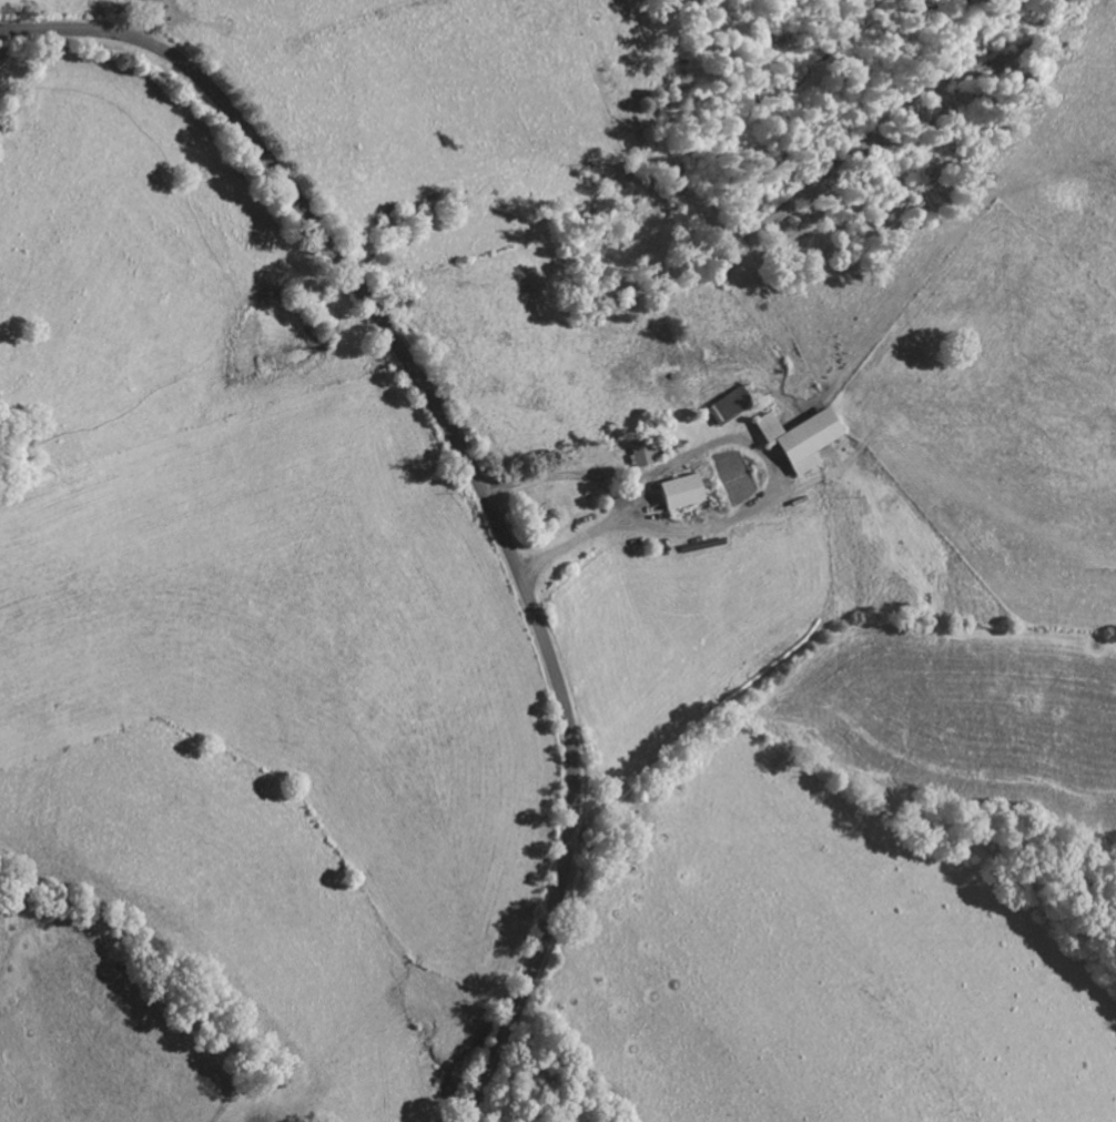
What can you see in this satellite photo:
building: (728, 407)
building: (799, 441)
building: (640, 455)
road: (471, 469)
building: (680, 495)

